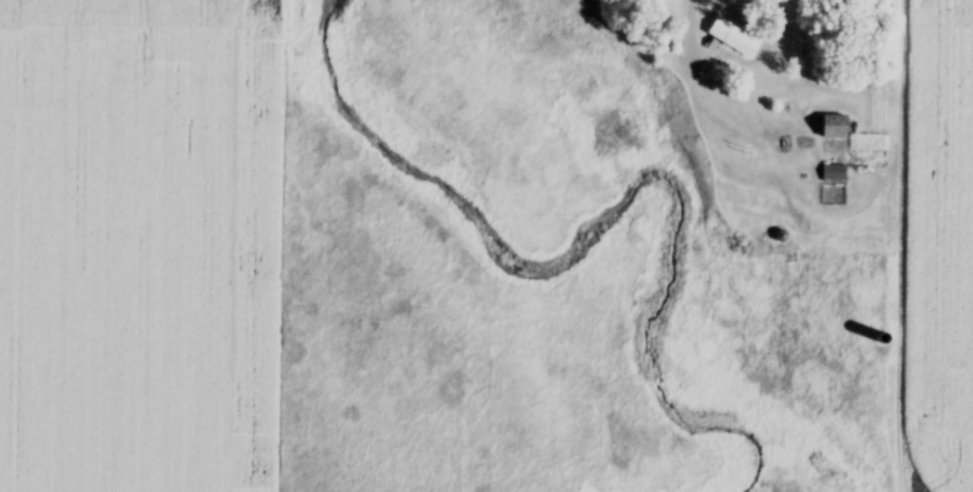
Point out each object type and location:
road: (692, 32)
building: (734, 35)
building: (835, 124)
building: (840, 136)
building: (838, 176)
crop: (945, 240)

